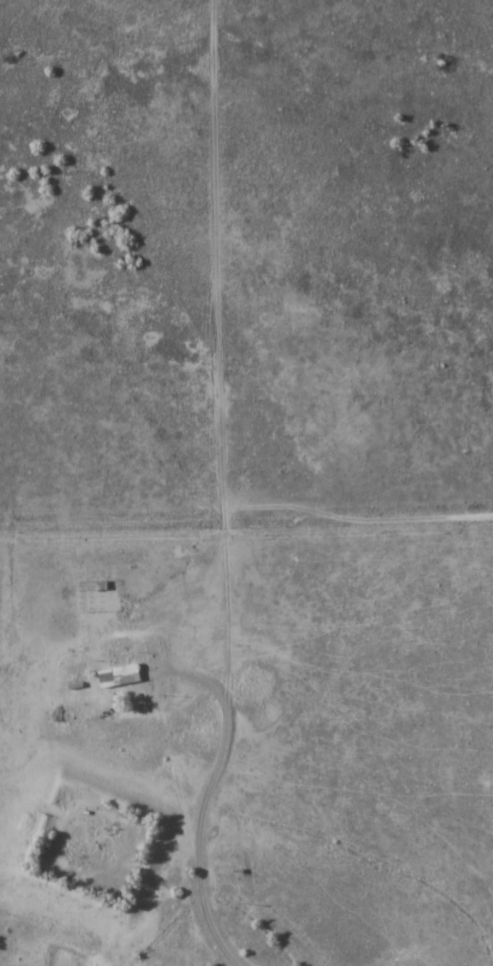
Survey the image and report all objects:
building: (120, 674)

